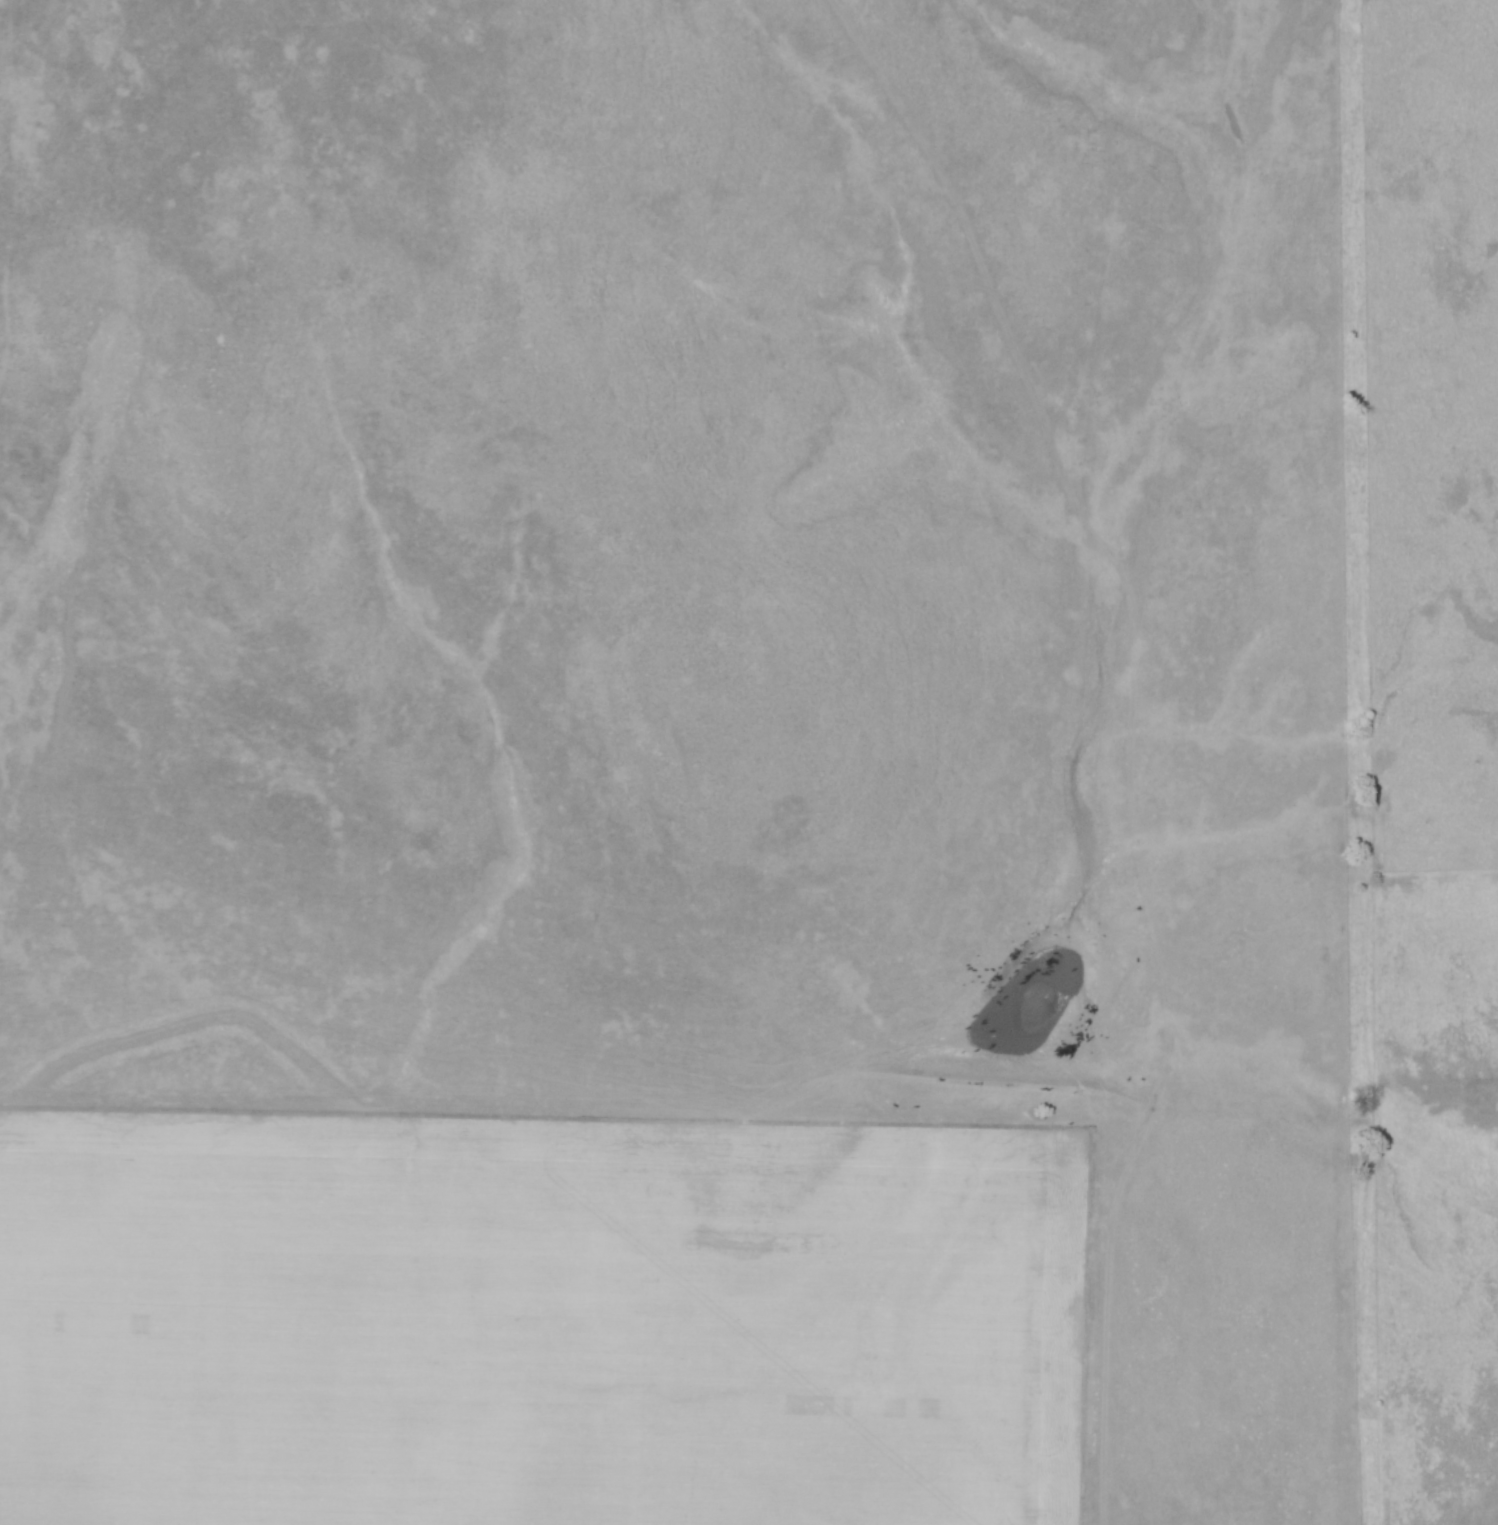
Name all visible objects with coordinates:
crop: (534, 1322)

